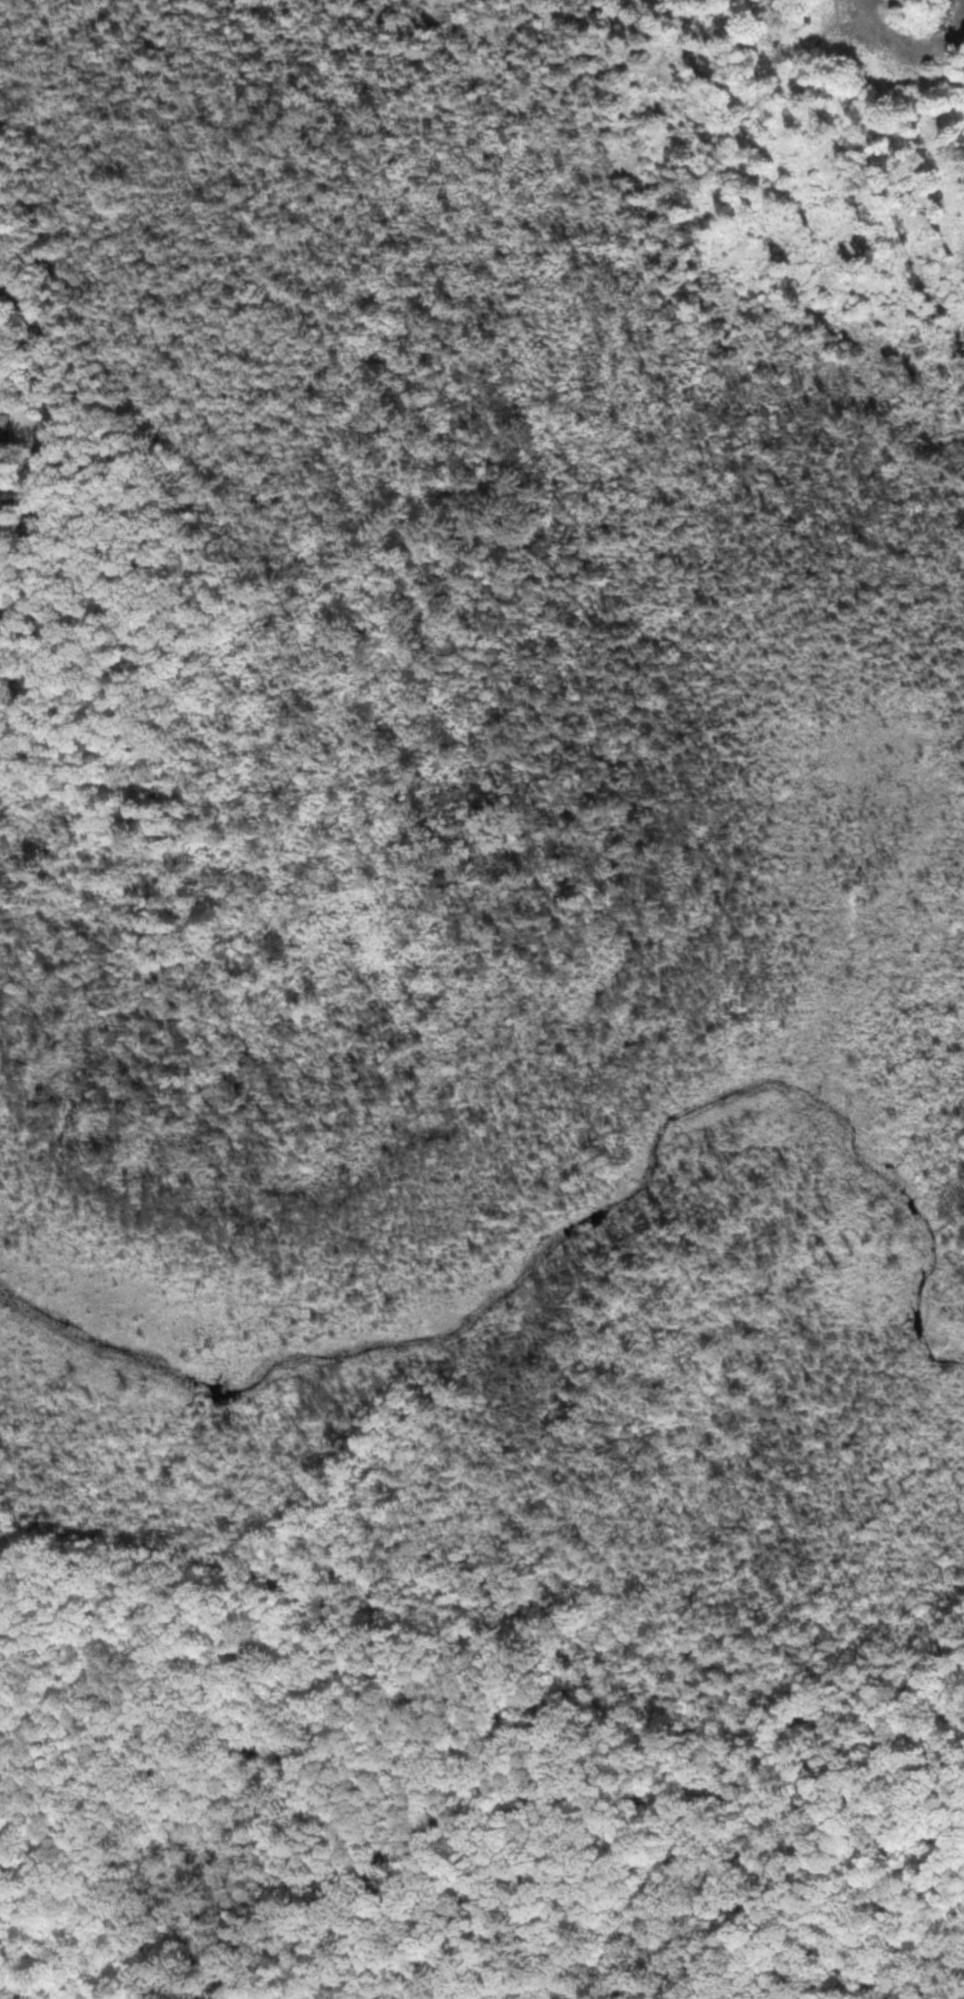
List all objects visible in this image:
road: (42, 434)

